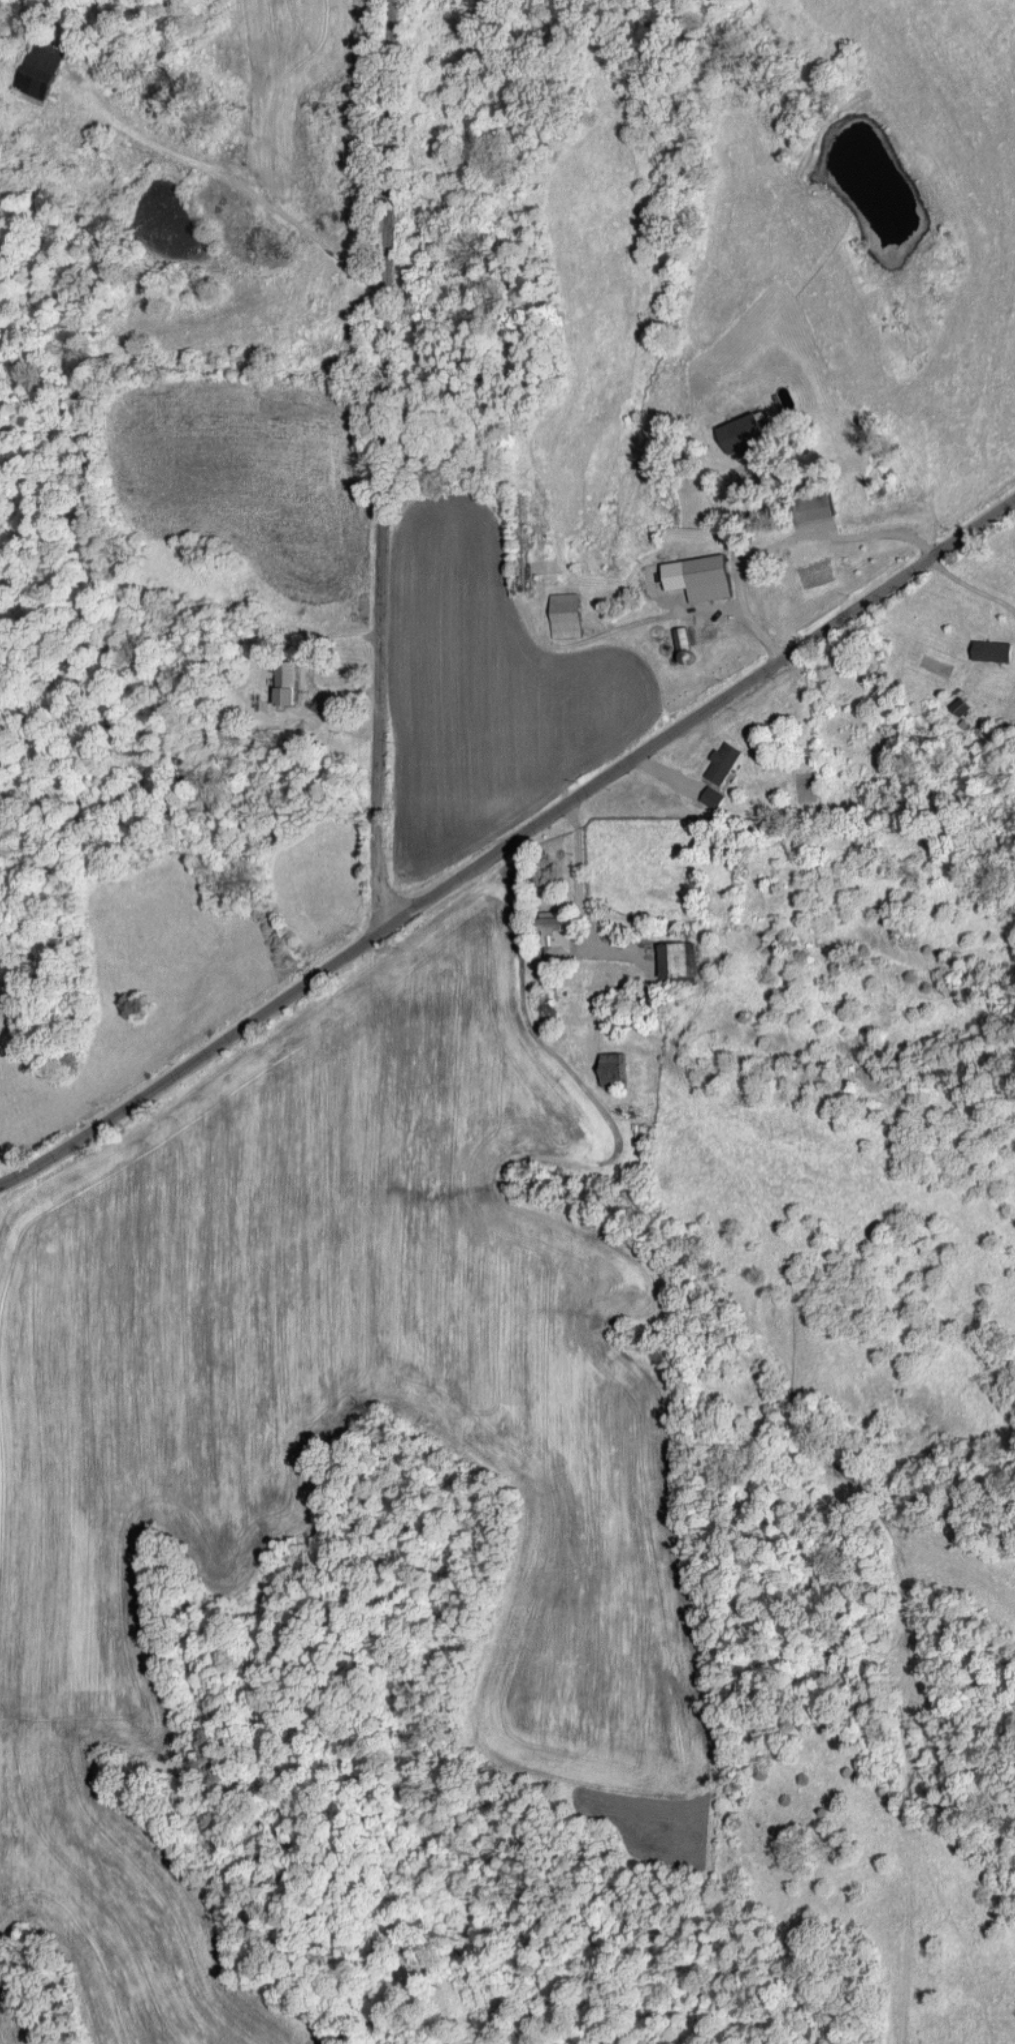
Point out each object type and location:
road: (245, 186)
building: (739, 431)
road: (384, 461)
building: (811, 505)
road: (732, 512)
road: (784, 540)
building: (697, 576)
road: (970, 585)
building: (683, 636)
building: (991, 649)
road: (314, 666)
building: (287, 677)
building: (961, 705)
building: (723, 761)
building: (712, 796)
road: (508, 838)
road: (575, 876)
building: (553, 931)
building: (677, 959)
road: (21, 1226)

